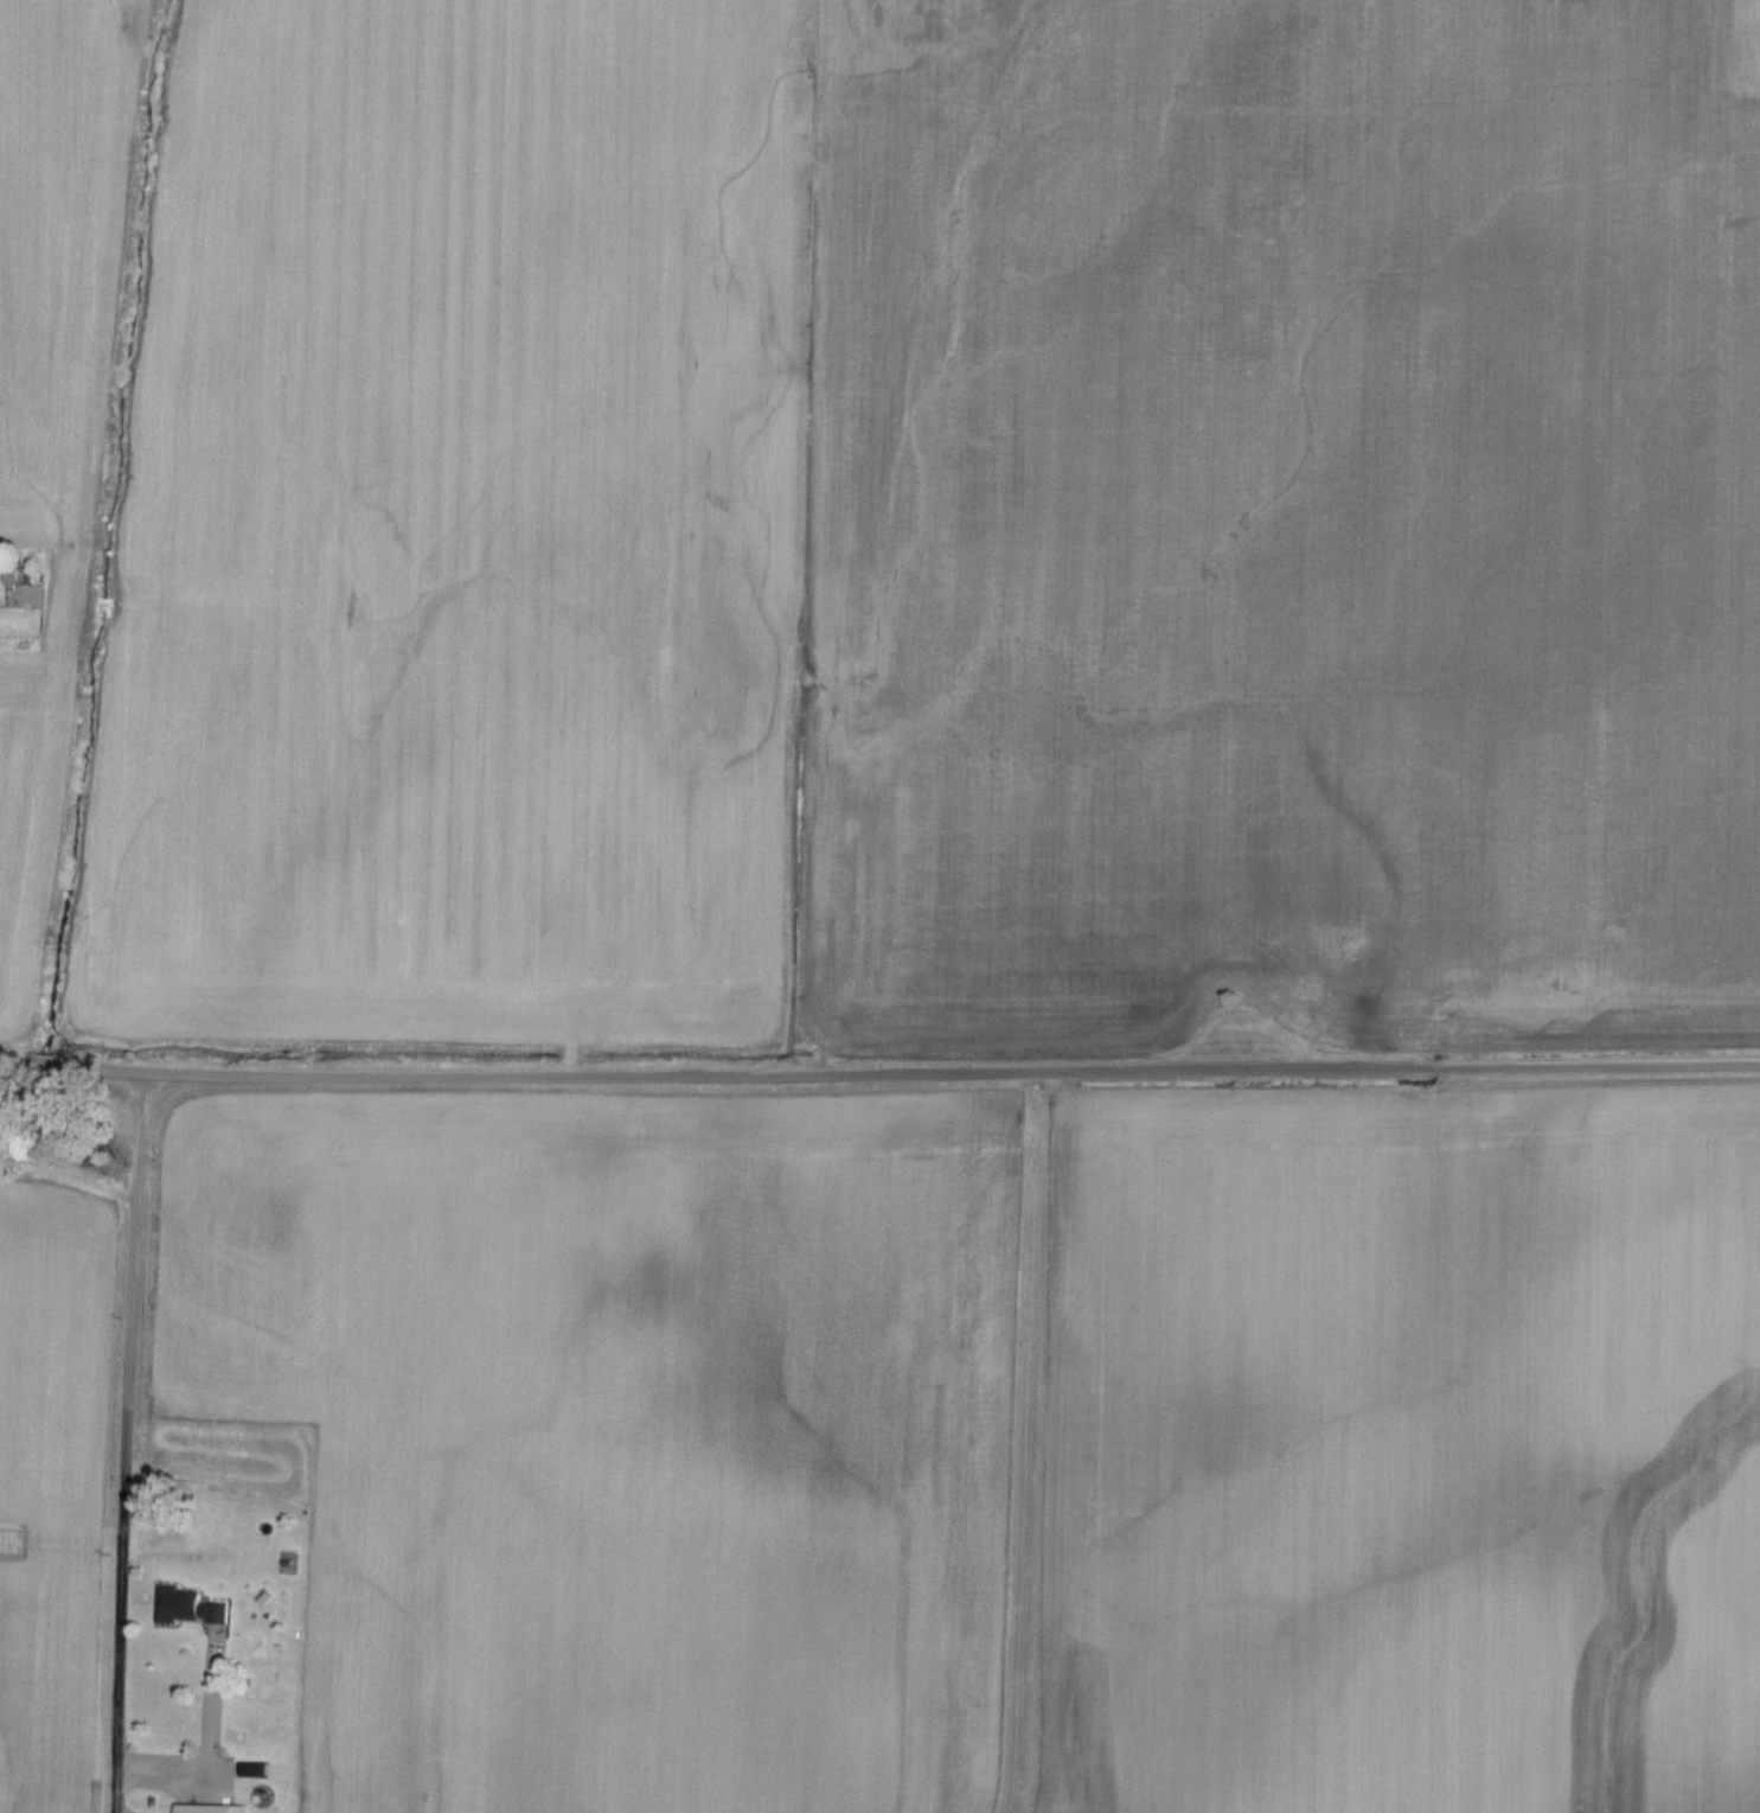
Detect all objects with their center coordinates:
road: (878, 1078)
road: (116, 1447)
building: (193, 1609)
road: (209, 1756)
building: (209, 1809)

